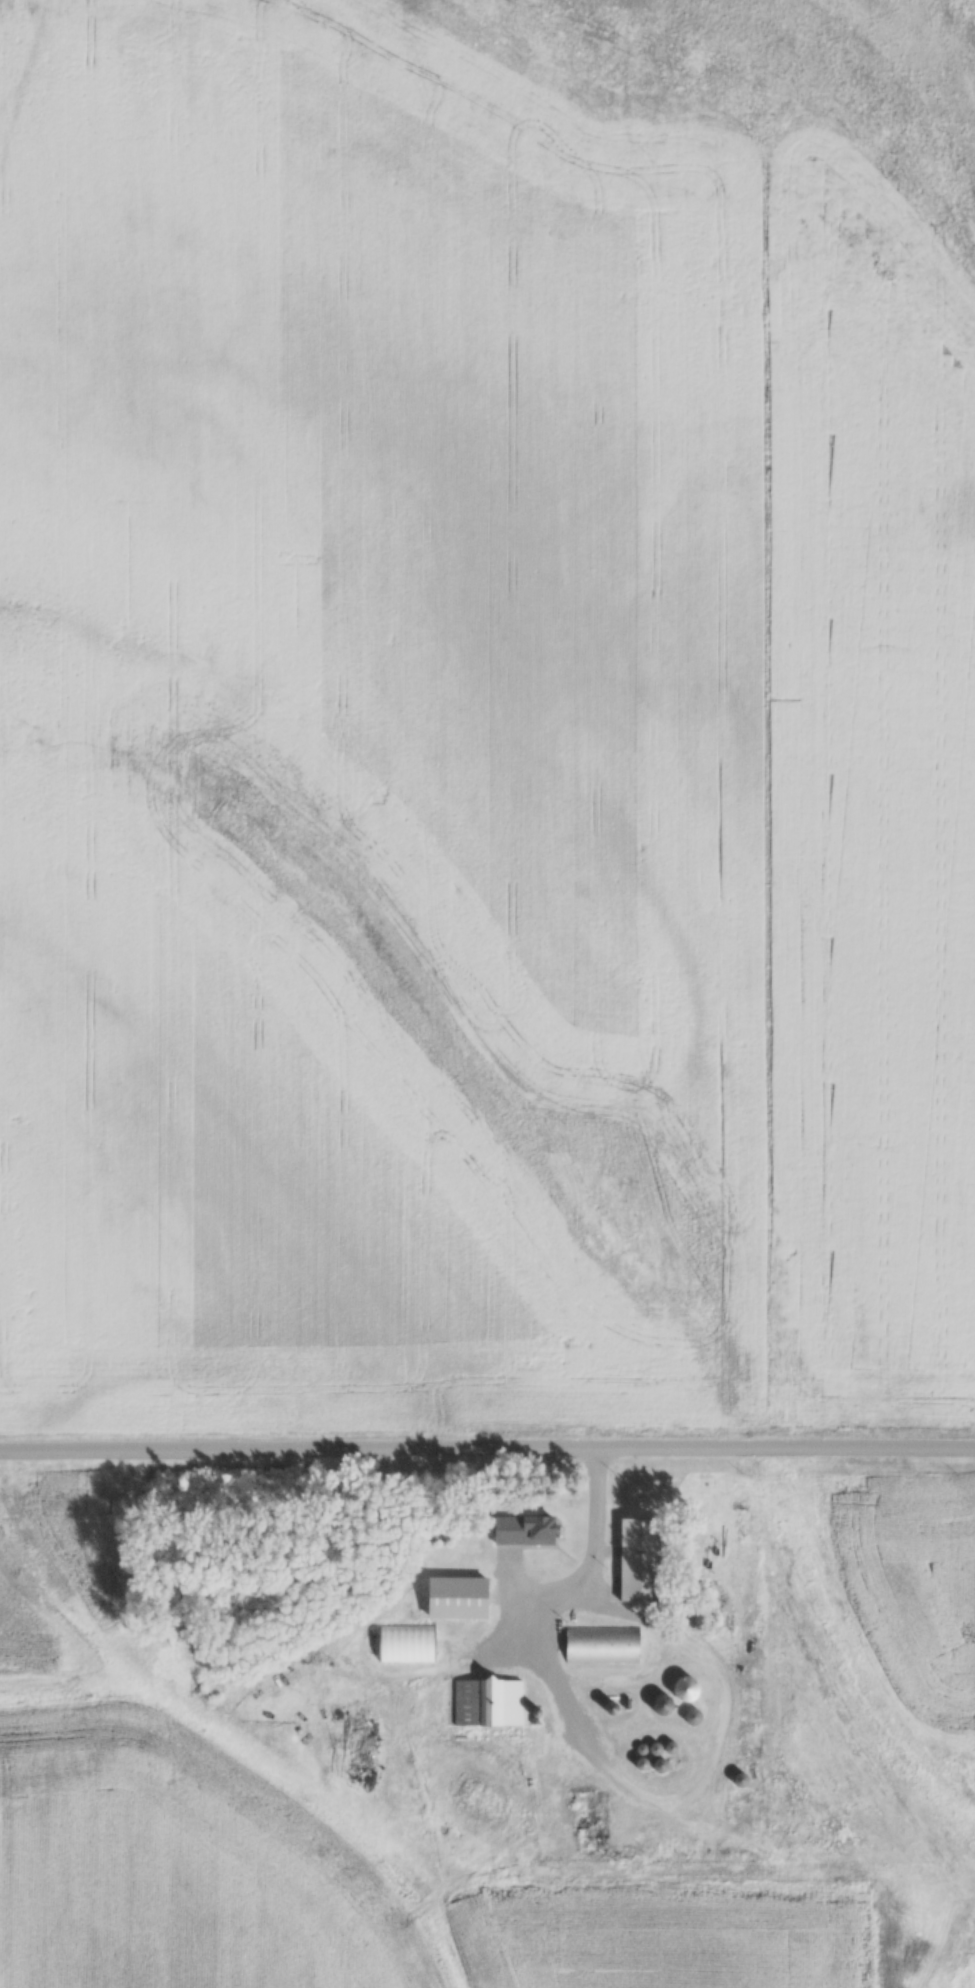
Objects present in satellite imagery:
road: (487, 1450)
building: (529, 1530)
building: (641, 1559)
building: (406, 1643)
building: (604, 1645)
building: (691, 1688)
building: (484, 1701)
building: (667, 1704)
building: (617, 1706)
building: (696, 1716)
building: (742, 1780)

